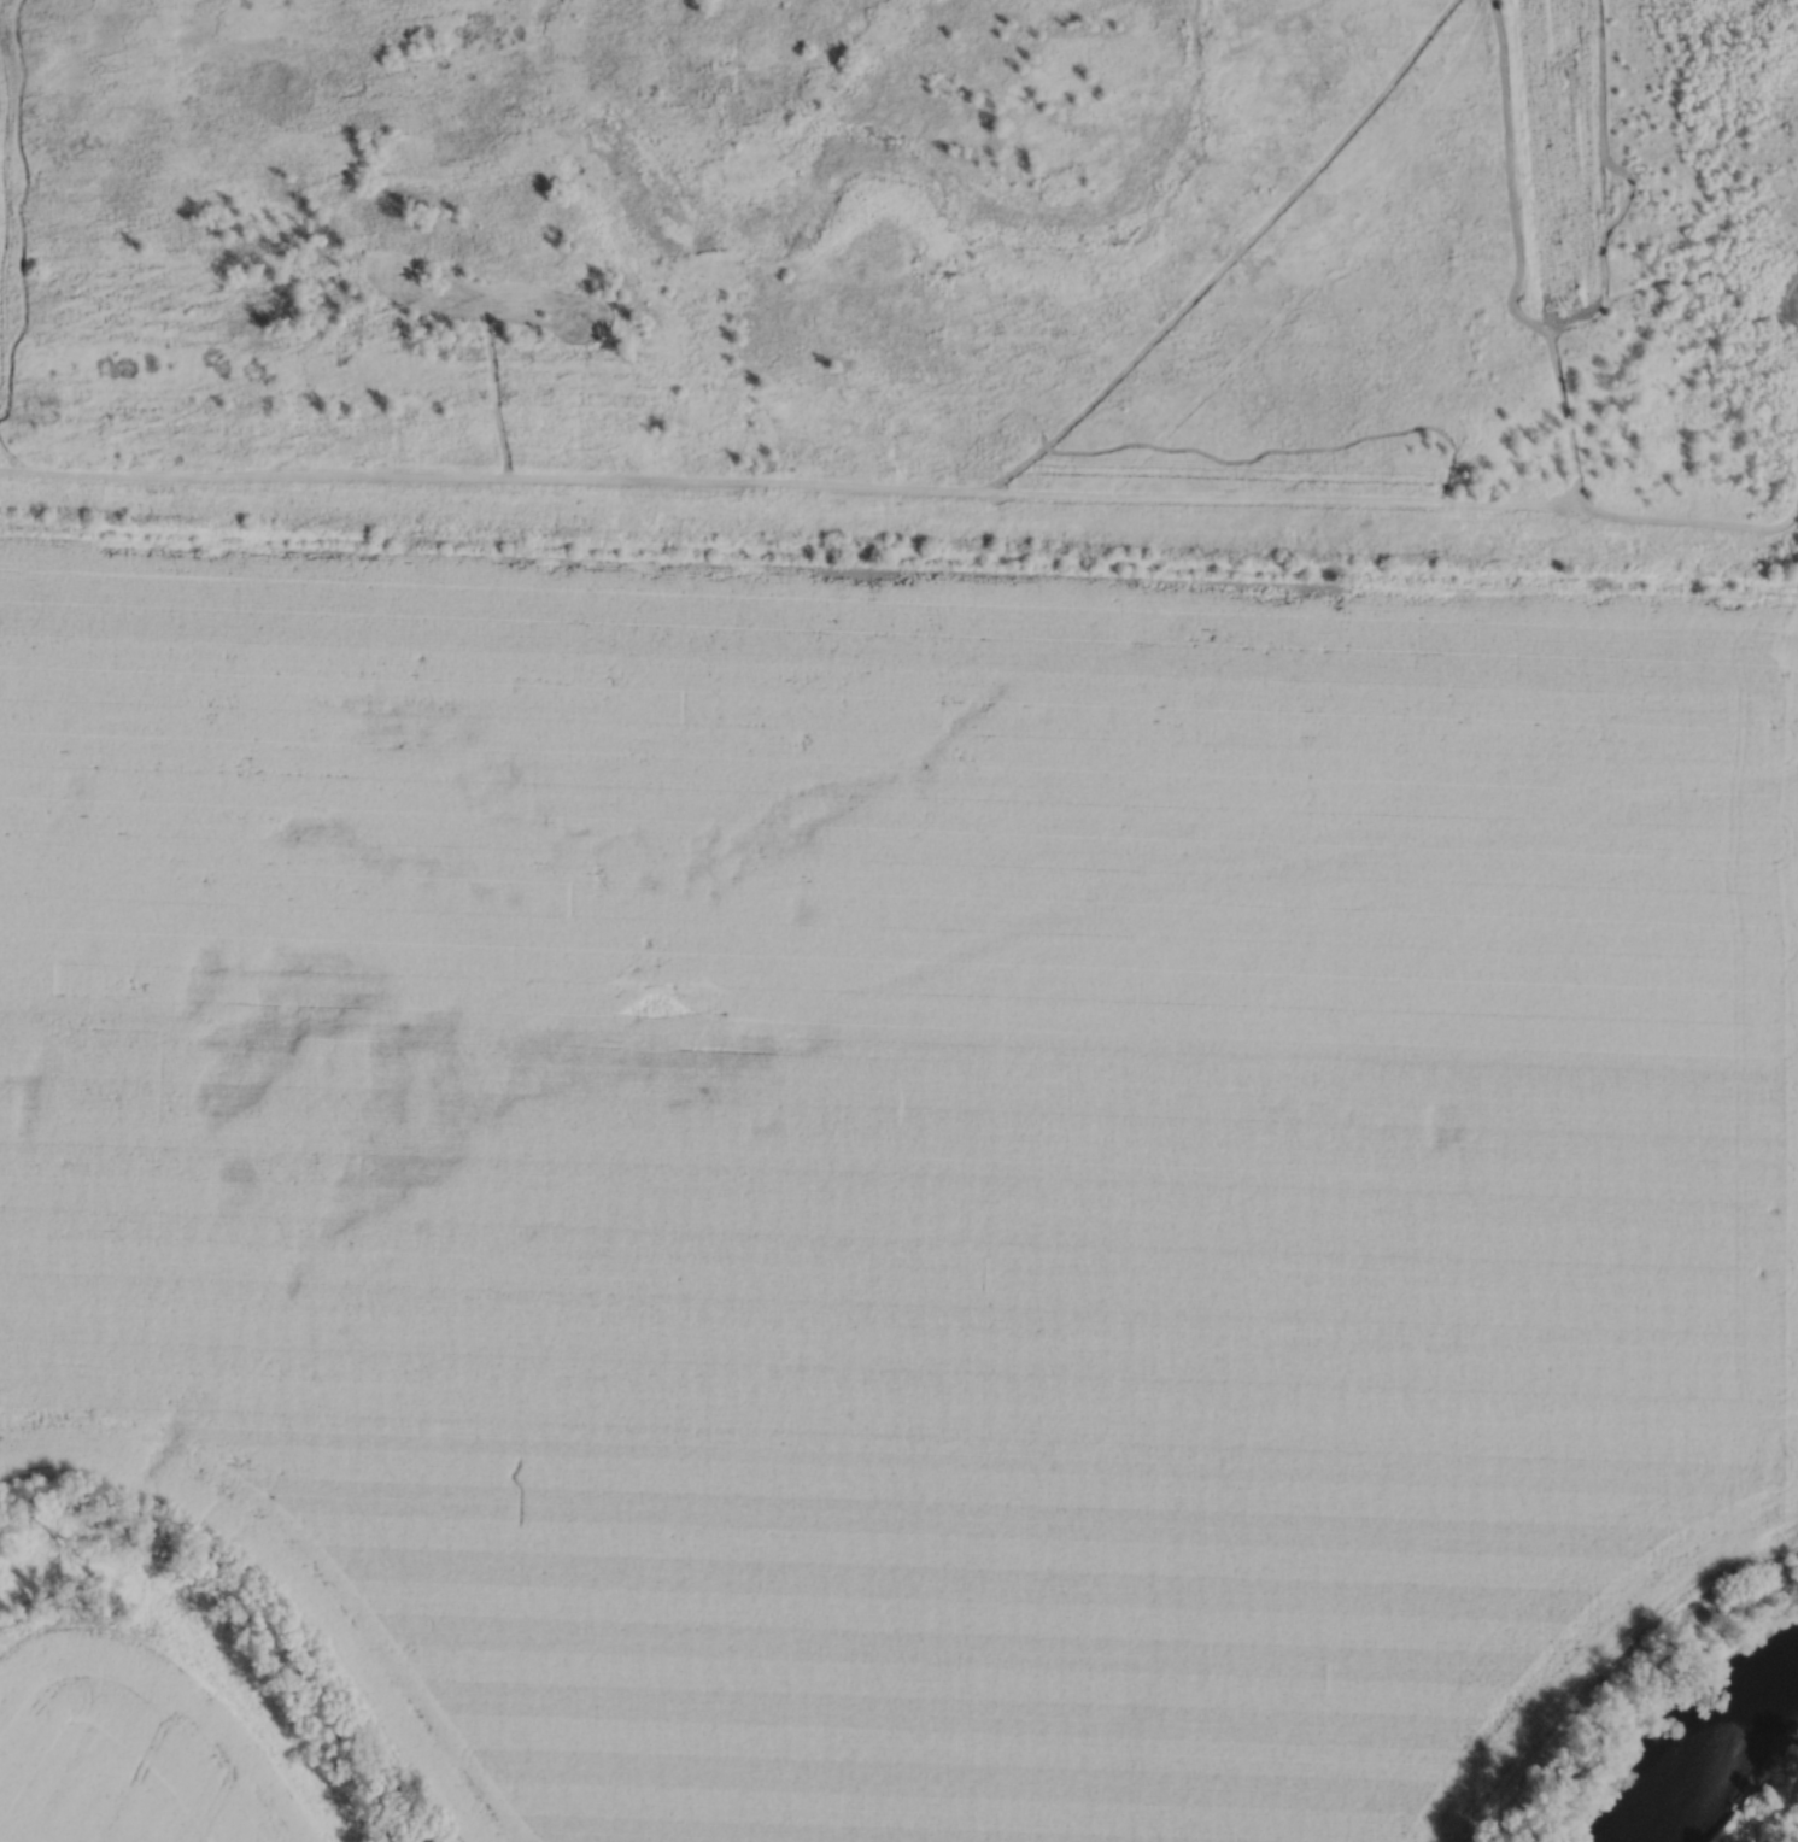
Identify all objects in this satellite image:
river: (1705, 1759)

